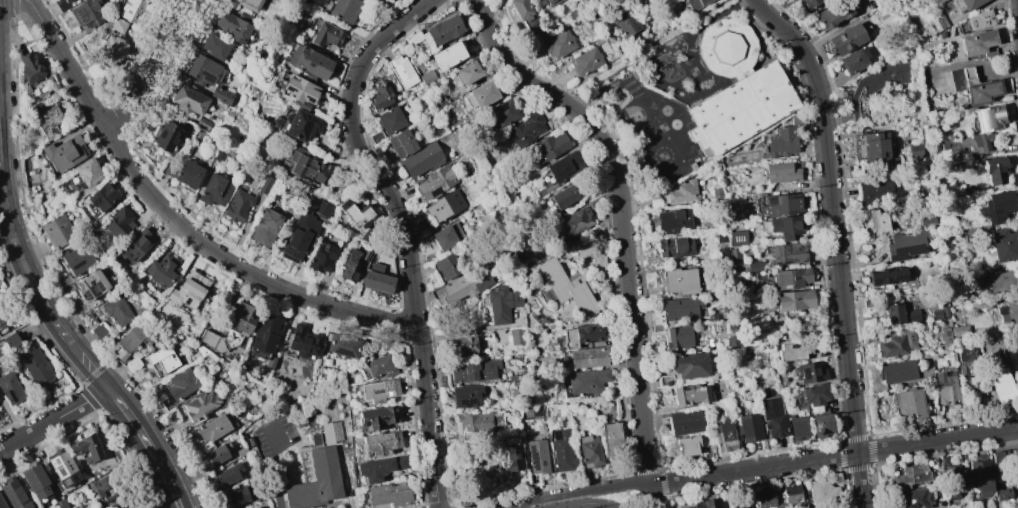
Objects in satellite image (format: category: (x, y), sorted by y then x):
building: (376, 0)
building: (382, 0)
building: (65, 1)
building: (546, 2)
building: (811, 3)
building: (249, 4)
building: (695, 4)
building: (965, 4)
building: (344, 9)
building: (131, 10)
building: (88, 13)
building: (833, 13)
rooftop solar panel: (76, 18)
building: (527, 18)
building: (975, 22)
building: (625, 23)
building: (118, 25)
building: (934, 25)
building: (231, 27)
building: (443, 30)
building: (325, 34)
building: (846, 39)
road: (654, 43)
building: (977, 43)
building: (558, 44)
building: (611, 44)
building: (214, 46)
building: (110, 48)
building: (447, 55)
building: (854, 60)
building: (307, 61)
building: (586, 61)
road: (67, 67)
building: (29, 69)
road: (151, 70)
building: (204, 70)
building: (401, 71)
building: (467, 73)
building: (426, 76)
building: (875, 86)
building: (973, 86)
building: (734, 88)
rooftop solar panel: (288, 90)
building: (299, 91)
building: (221, 95)
building: (379, 96)
building: (478, 98)
building: (189, 100)
rooftop solar panel: (308, 101)
building: (502, 112)
building: (986, 118)
building: (389, 120)
building: (795, 120)
building: (48, 122)
building: (202, 123)
building: (295, 123)
building: (526, 129)
building: (165, 136)
building: (376, 137)
building: (781, 141)
building: (401, 143)
building: (968, 143)
building: (551, 145)
building: (870, 145)
rooftop solar panel: (83, 151)
building: (915, 151)
building: (64, 152)
road: (363, 154)
building: (217, 159)
building: (422, 159)
building: (306, 165)
building: (564, 166)
building: (994, 169)
building: (87, 172)
building: (183, 172)
building: (781, 173)
building: (435, 182)
building: (265, 185)
building: (873, 189)
building: (214, 190)
building: (969, 190)
building: (682, 192)
building: (562, 196)
building: (101, 197)
building: (594, 202)
building: (783, 204)
building: (444, 205)
building: (997, 206)
building: (237, 207)
building: (322, 208)
building: (355, 213)
road: (621, 215)
building: (576, 220)
building: (673, 220)
building: (927, 220)
building: (874, 222)
building: (117, 223)
building: (786, 227)
building: (264, 228)
building: (58, 231)
building: (446, 236)
building: (300, 237)
building: (369, 237)
building: (737, 238)
road: (835, 243)
building: (904, 244)
building: (136, 245)
building: (721, 245)
building: (1002, 245)
building: (675, 247)
rooftop solar panel: (909, 251)
building: (789, 253)
building: (732, 256)
building: (429, 257)
building: (322, 258)
building: (76, 260)
building: (352, 263)
building: (447, 265)
building: (755, 266)
building: (162, 269)
road: (241, 269)
building: (887, 276)
building: (791, 278)
building: (376, 279)
building: (1002, 280)
building: (677, 281)
building: (91, 286)
building: (463, 286)
building: (567, 287)
building: (188, 290)
road: (36, 291)
building: (794, 300)
building: (502, 303)
building: (680, 308)
building: (117, 311)
building: (944, 311)
building: (1006, 312)
building: (898, 314)
building: (935, 314)
building: (3, 318)
building: (241, 319)
building: (657, 322)
building: (732, 325)
building: (959, 331)
building: (265, 333)
building: (582, 334)
building: (516, 336)
building: (945, 337)
building: (678, 338)
building: (131, 340)
building: (10, 341)
building: (215, 341)
building: (732, 341)
building: (303, 342)
building: (895, 344)
building: (342, 345)
building: (466, 346)
building: (795, 350)
building: (587, 357)
building: (964, 357)
building: (162, 359)
building: (269, 362)
building: (689, 365)
building: (35, 366)
building: (381, 366)
building: (475, 371)
building: (811, 372)
building: (897, 372)
building: (587, 380)
building: (182, 384)
building: (1001, 385)
rooftop solar panel: (389, 386)
building: (945, 387)
building: (10, 388)
building: (378, 391)
rooftop solar panel: (377, 393)
building: (689, 394)
building: (812, 394)
building: (465, 396)
rooftop solar panel: (468, 402)
building: (909, 403)
building: (200, 405)
building: (377, 417)
building: (772, 417)
road: (131, 419)
road: (429, 419)
road: (54, 420)
rooftop solar panel: (383, 420)
building: (478, 421)
building: (684, 421)
building: (820, 425)
rooftop solar panel: (365, 427)
building: (748, 427)
building: (797, 428)
building: (213, 429)
building: (331, 431)
parking lot: (273, 436)
building: (723, 436)
building: (611, 439)
building: (381, 442)
building: (686, 445)
building: (86, 448)
building: (241, 451)
building: (588, 451)
building: (562, 452)
building: (706, 452)
building: (218, 453)
building: (537, 454)
road: (153, 455)
building: (510, 455)
road: (834, 456)
building: (1000, 456)
road: (274, 465)
building: (304, 466)
building: (379, 468)
building: (63, 471)
building: (228, 474)
building: (978, 475)
building: (909, 477)
building: (950, 478)
road: (176, 481)
building: (36, 482)
building: (315, 482)
road: (160, 485)
building: (100, 486)
road: (581, 491)
building: (822, 491)
building: (791, 494)
building: (1002, 494)
building: (14, 495)
building: (389, 495)
building: (236, 496)
road: (654, 496)
building: (261, 498)
building: (765, 498)
building: (912, 498)
building: (61, 503)
building: (2, 504)
road: (589, 504)
building: (702, 504)
building: (744, 504)
building: (116, 506)
building: (1016, 506)
building: (255, 507)
building: (1008, 507)

